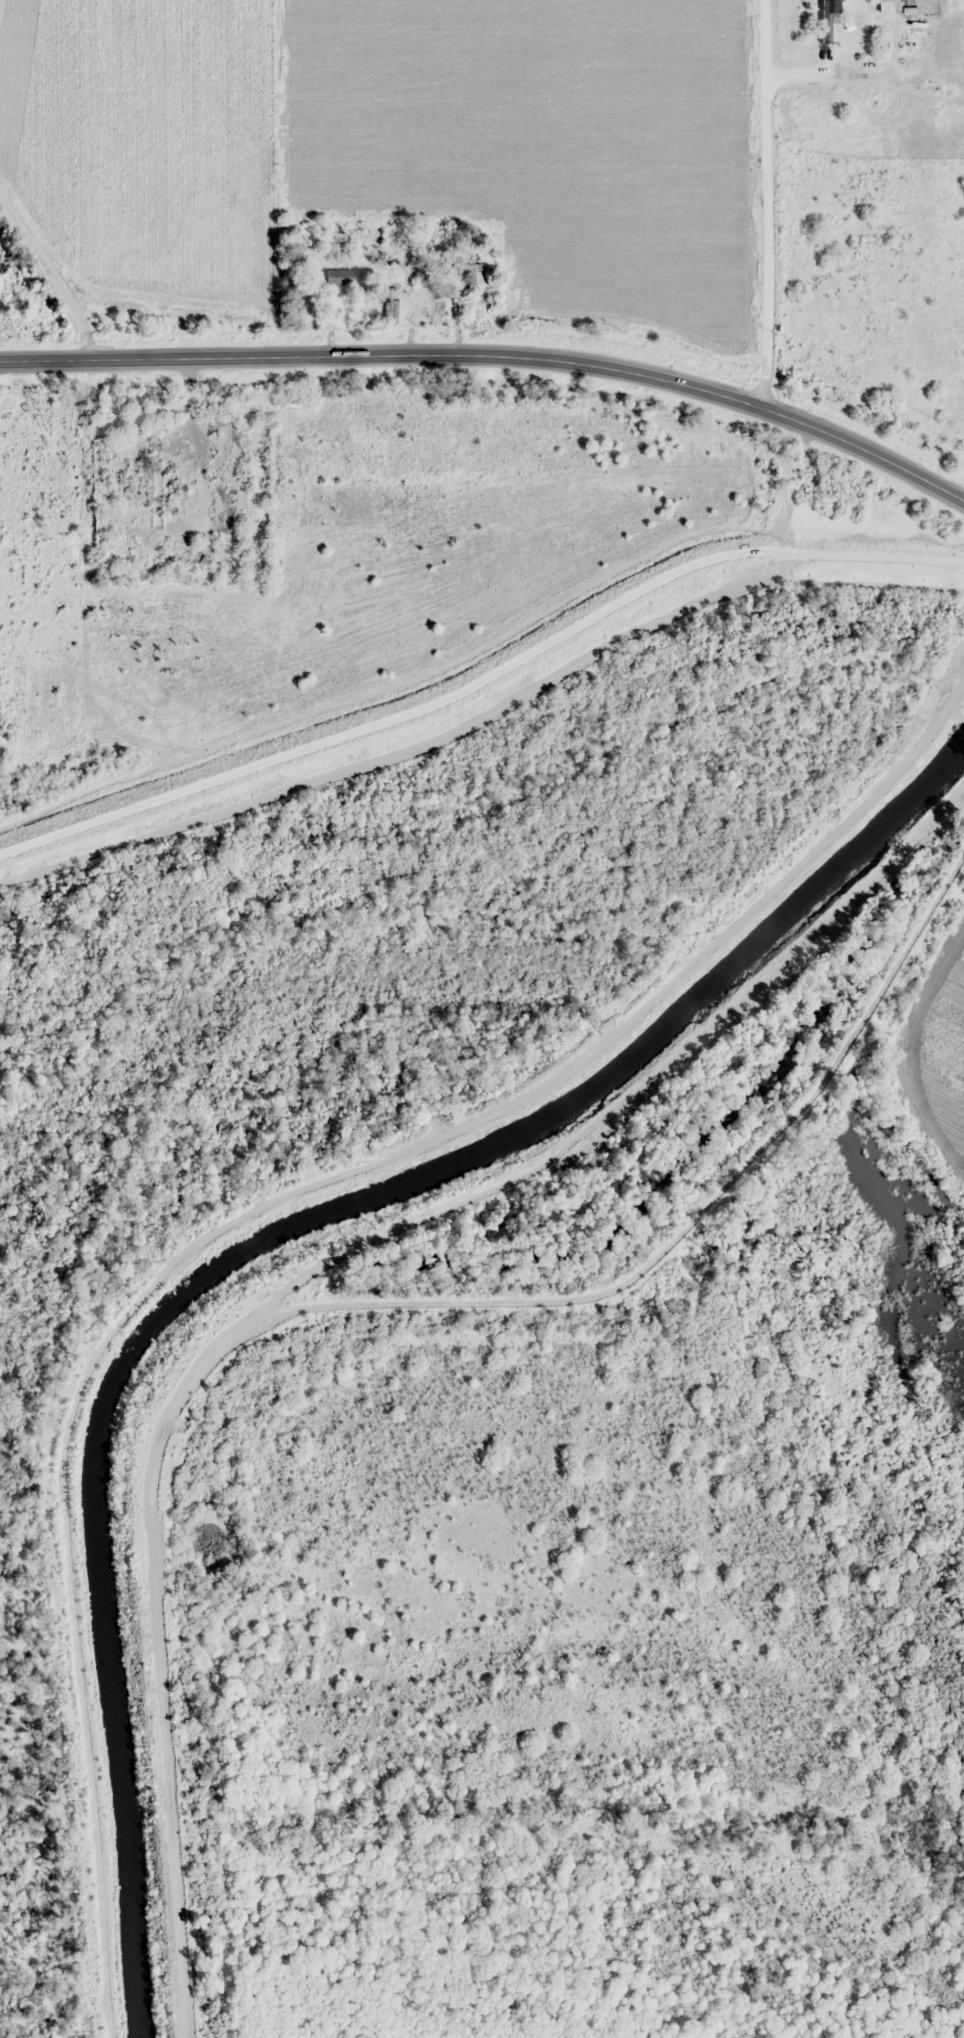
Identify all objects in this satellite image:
road: (763, 202)
road: (55, 250)
building: (469, 274)
building: (338, 276)
building: (393, 311)
road: (384, 355)
road: (865, 446)
river: (856, 1080)

